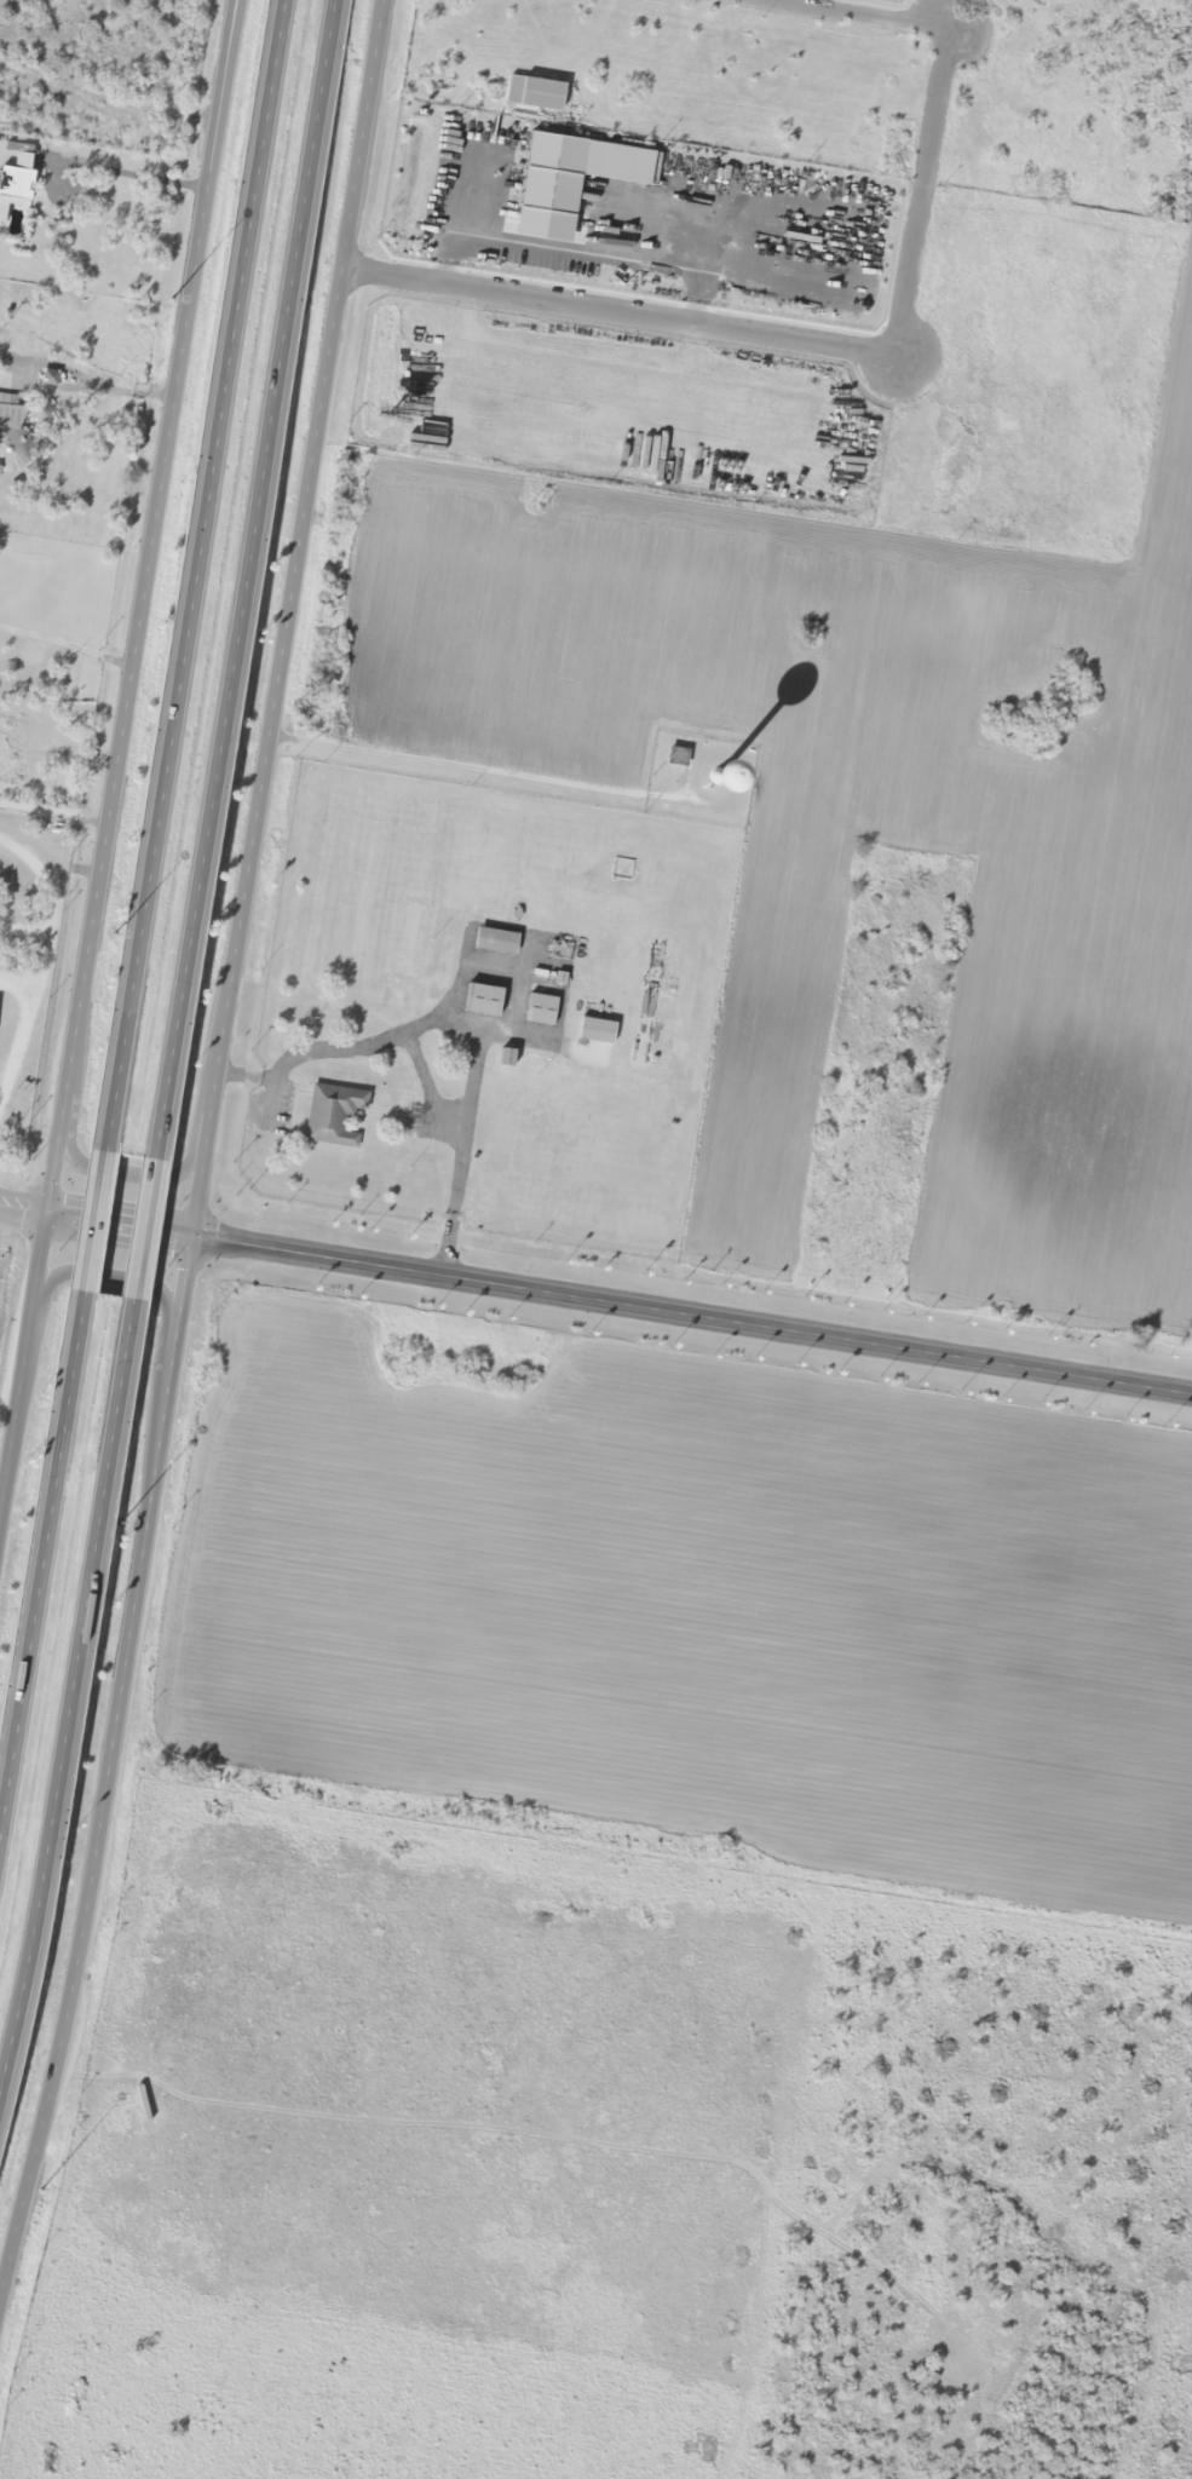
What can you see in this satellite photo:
road: (856, 13)
building: (535, 93)
road: (223, 109)
road: (225, 109)
building: (16, 183)
road: (917, 192)
road: (615, 312)
building: (48, 378)
building: (7, 402)
building: (39, 410)
building: (11, 450)
road: (197, 577)
road: (248, 581)
road: (287, 617)
building: (676, 758)
building: (743, 787)
road: (100, 876)
building: (496, 942)
building: (1, 1001)
building: (483, 1001)
building: (541, 1011)
building: (597, 1031)
building: (335, 1110)
road: (131, 1175)
helipad: (235, 1190)
road: (24, 1208)
road: (97, 1223)
road: (122, 1224)
road: (145, 1231)
road: (111, 1275)
road: (692, 1317)
road: (44, 1572)
road: (75, 1703)
road: (109, 1776)
road: (4, 2284)

